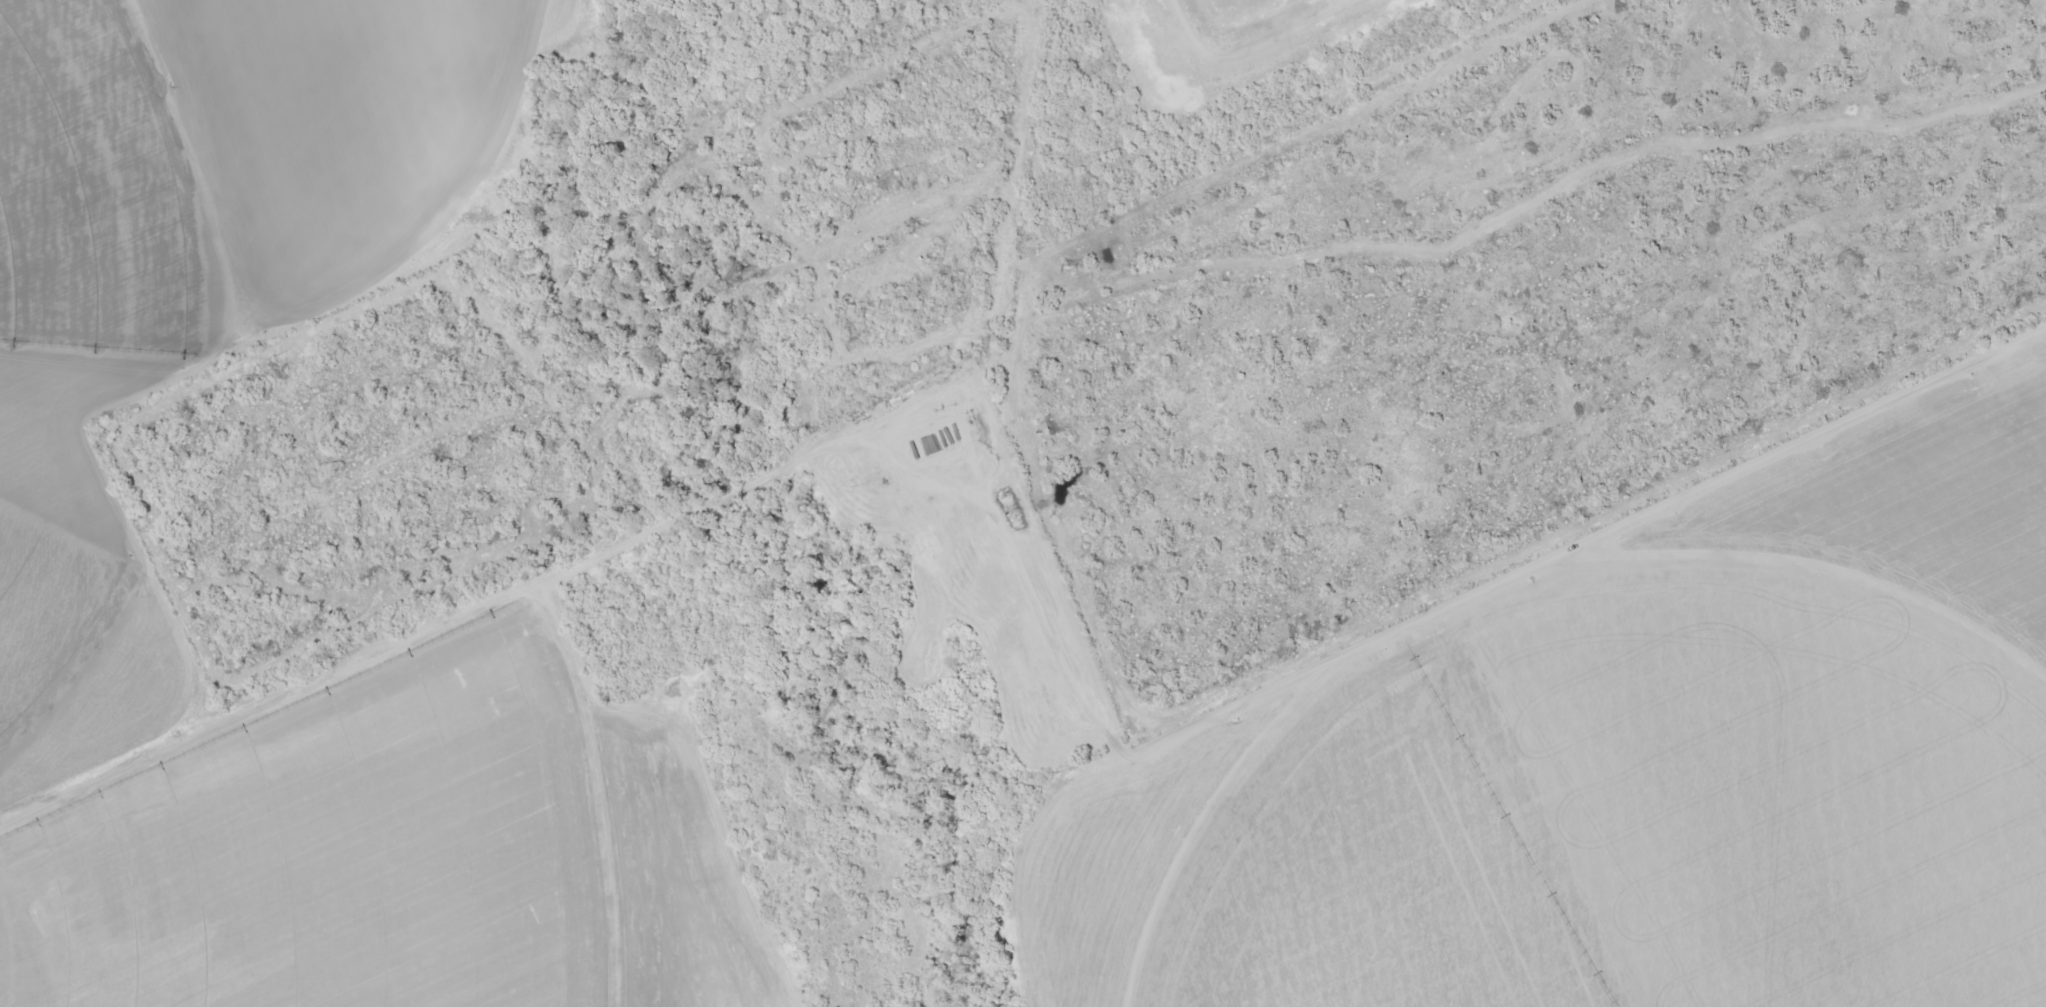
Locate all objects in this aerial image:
road: (1955, 965)

